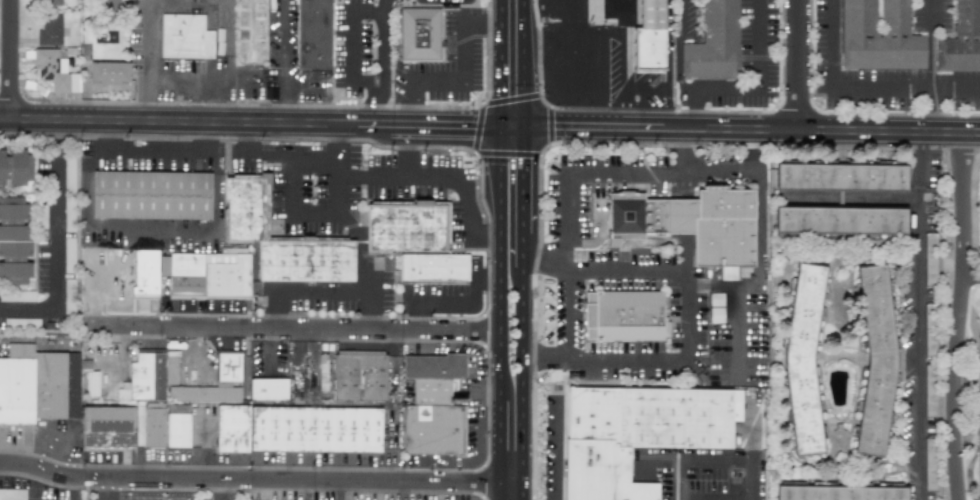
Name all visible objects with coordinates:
building: (50, 2)
road: (385, 2)
road: (443, 2)
building: (110, 6)
parking lot: (469, 10)
road: (346, 14)
road: (486, 24)
building: (49, 32)
road: (598, 32)
building: (313, 34)
building: (419, 34)
road: (478, 35)
road: (455, 36)
building: (185, 37)
parking lot: (448, 37)
building: (879, 37)
building: (649, 38)
road: (462, 39)
building: (960, 40)
road: (449, 43)
building: (713, 43)
road: (933, 43)
road: (441, 44)
road: (679, 51)
road: (12, 60)
road: (148, 61)
road: (283, 62)
parking lot: (475, 64)
road: (503, 64)
road: (523, 64)
road: (799, 66)
parking lot: (430, 67)
building: (54, 71)
building: (108, 72)
road: (204, 78)
road: (437, 80)
road: (300, 81)
parking lot: (397, 84)
road: (853, 84)
road: (538, 85)
road: (969, 88)
road: (626, 89)
road: (750, 89)
parking lot: (446, 96)
road: (510, 98)
road: (483, 99)
road: (251, 125)
road: (549, 125)
road: (477, 128)
road: (513, 128)
road: (751, 132)
road: (556, 144)
road: (680, 151)
road: (643, 153)
road: (506, 154)
road: (150, 156)
road: (281, 157)
road: (478, 160)
building: (2, 167)
building: (19, 167)
road: (617, 172)
building: (68, 175)
road: (419, 177)
building: (841, 180)
building: (150, 195)
building: (245, 206)
building: (977, 209)
building: (68, 211)
building: (41, 216)
road: (757, 216)
road: (303, 218)
building: (598, 223)
building: (842, 223)
building: (690, 224)
building: (405, 227)
road: (150, 233)
building: (14, 241)
road: (57, 242)
building: (930, 258)
road: (503, 264)
building: (433, 267)
road: (363, 268)
building: (206, 274)
road: (970, 274)
building: (99, 276)
road: (488, 279)
road: (299, 291)
building: (23, 296)
building: (68, 296)
road: (446, 296)
building: (716, 304)
road: (736, 308)
road: (684, 313)
road: (523, 314)
building: (624, 315)
road: (566, 316)
road: (919, 318)
road: (957, 318)
road: (299, 331)
building: (930, 336)
building: (805, 358)
building: (878, 359)
building: (228, 367)
building: (149, 375)
building: (358, 375)
building: (91, 383)
building: (38, 385)
building: (268, 389)
building: (930, 390)
building: (204, 393)
building: (433, 406)
building: (978, 416)
building: (649, 419)
building: (153, 425)
building: (107, 426)
building: (177, 426)
building: (297, 429)
road: (557, 441)
road: (503, 449)
road: (715, 459)
building: (930, 460)
road: (261, 479)
road: (678, 479)
road: (751, 480)
road: (103, 484)
road: (220, 489)
building: (841, 492)
road: (557, 493)
building: (12, 494)
road: (103, 495)

